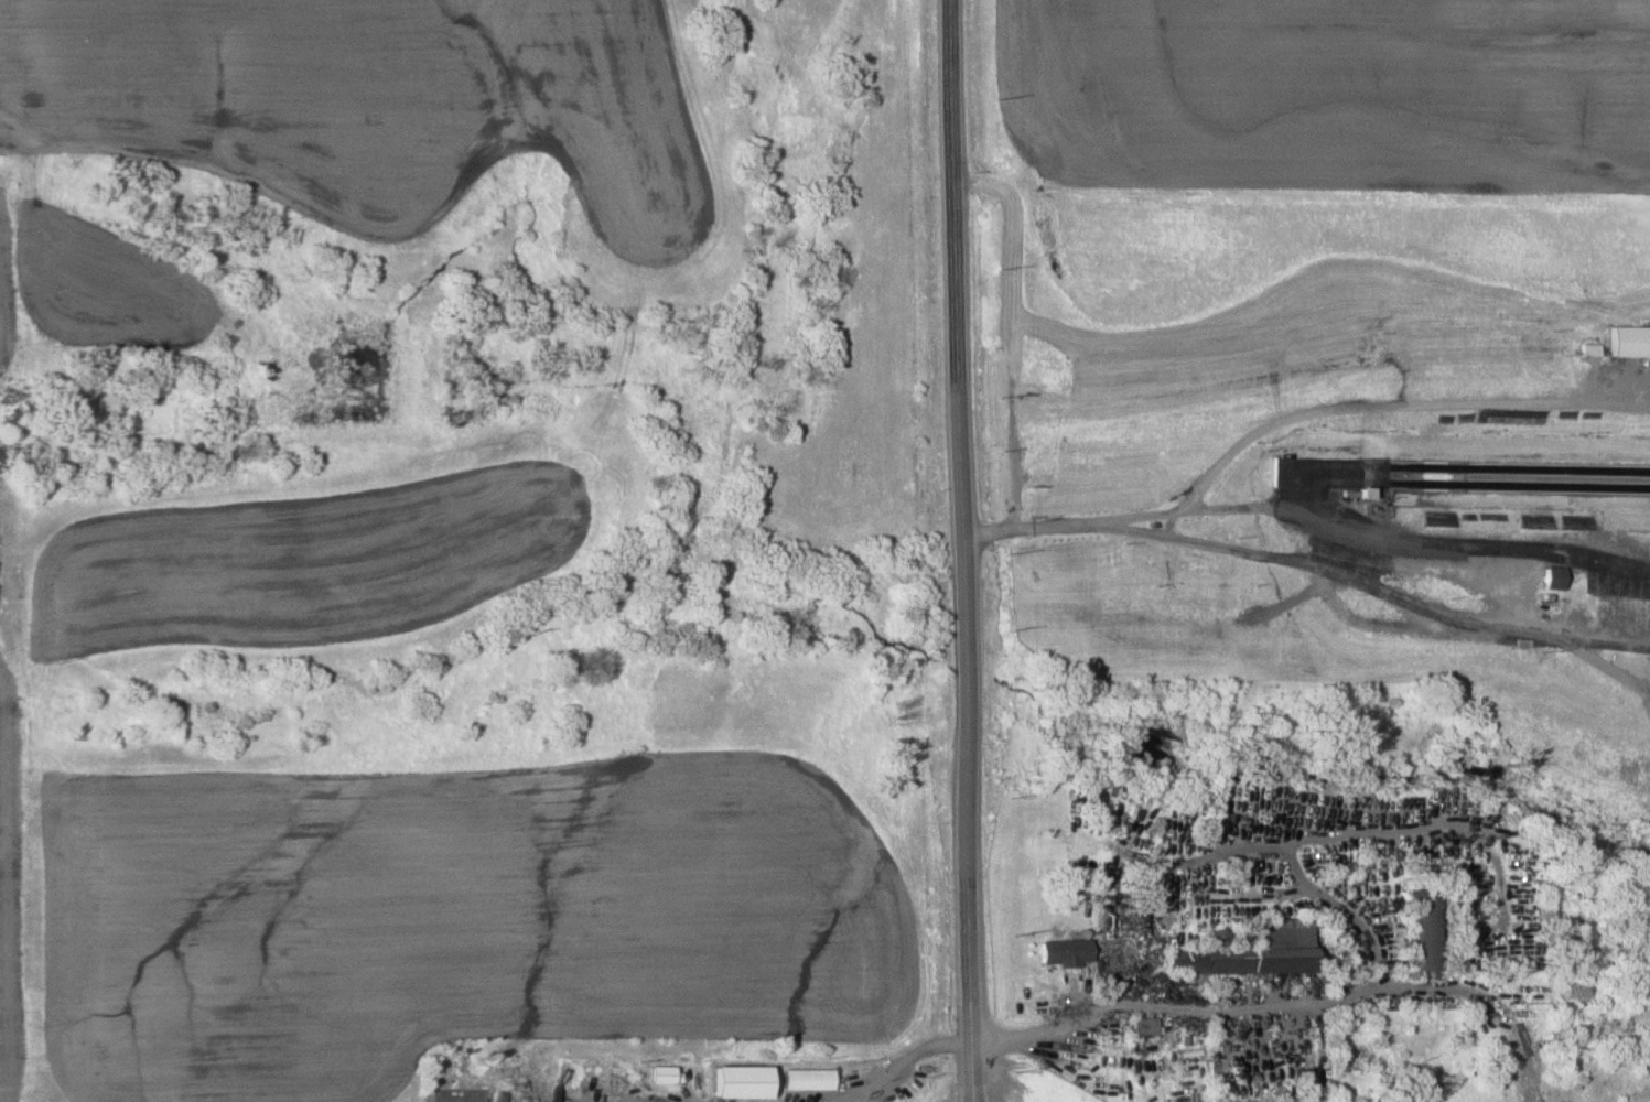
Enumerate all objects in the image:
building: (1627, 343)
road: (1283, 423)
road: (1007, 437)
track: (1470, 474)
road: (1253, 508)
road: (1466, 548)
road: (958, 551)
building: (1551, 579)
road: (1363, 627)
road: (1606, 671)
building: (1421, 930)
building: (1253, 951)
building: (1064, 952)
building: (1142, 1028)
road: (1012, 1044)
building: (805, 1080)
building: (597, 1083)

